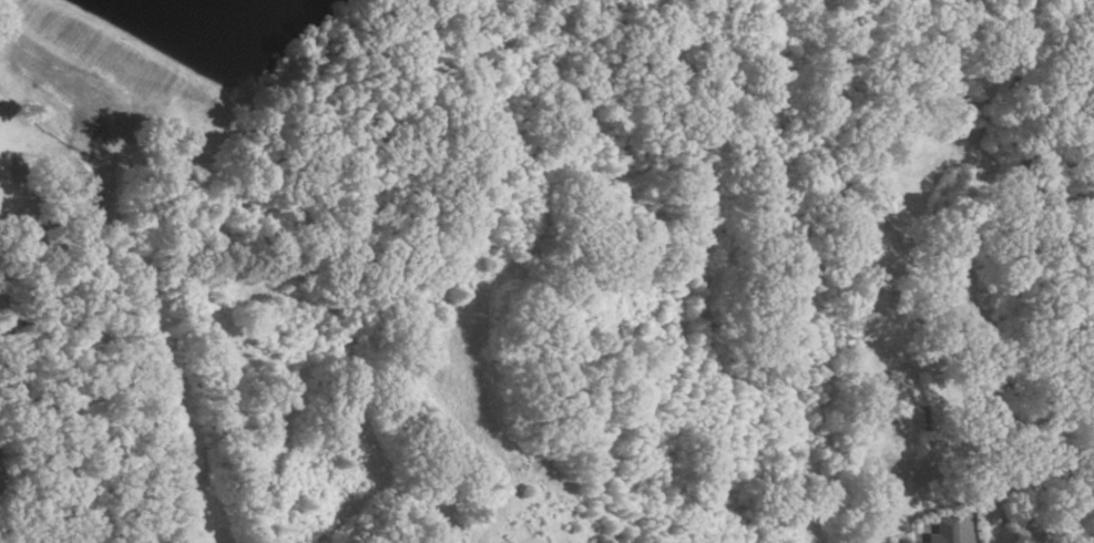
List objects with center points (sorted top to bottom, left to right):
road: (967, 531)
building: (939, 532)
building: (903, 542)

